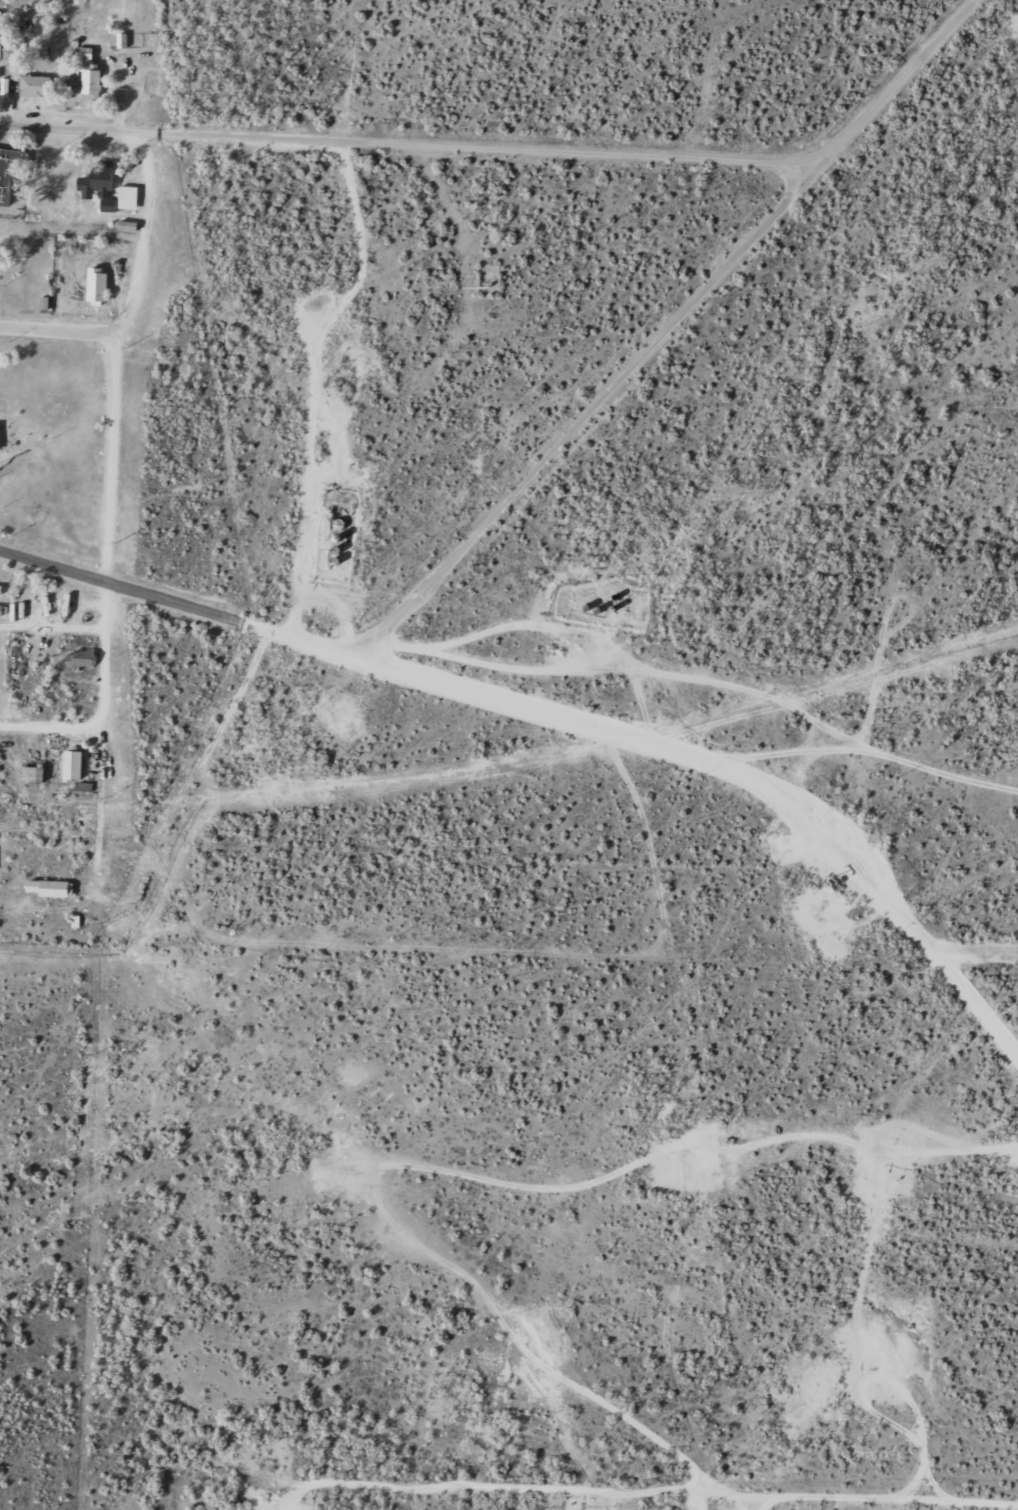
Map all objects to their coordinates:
building: (1, 25)
building: (15, 52)
building: (91, 75)
building: (38, 85)
road: (70, 129)
road: (481, 147)
building: (11, 172)
building: (101, 188)
building: (130, 197)
building: (99, 285)
road: (55, 329)
road: (110, 353)
building: (1, 436)
road: (54, 565)
building: (1, 589)
building: (82, 659)
road: (272, 714)
road: (42, 727)
road: (608, 729)
building: (75, 765)
building: (35, 774)
building: (51, 888)
road: (975, 947)

